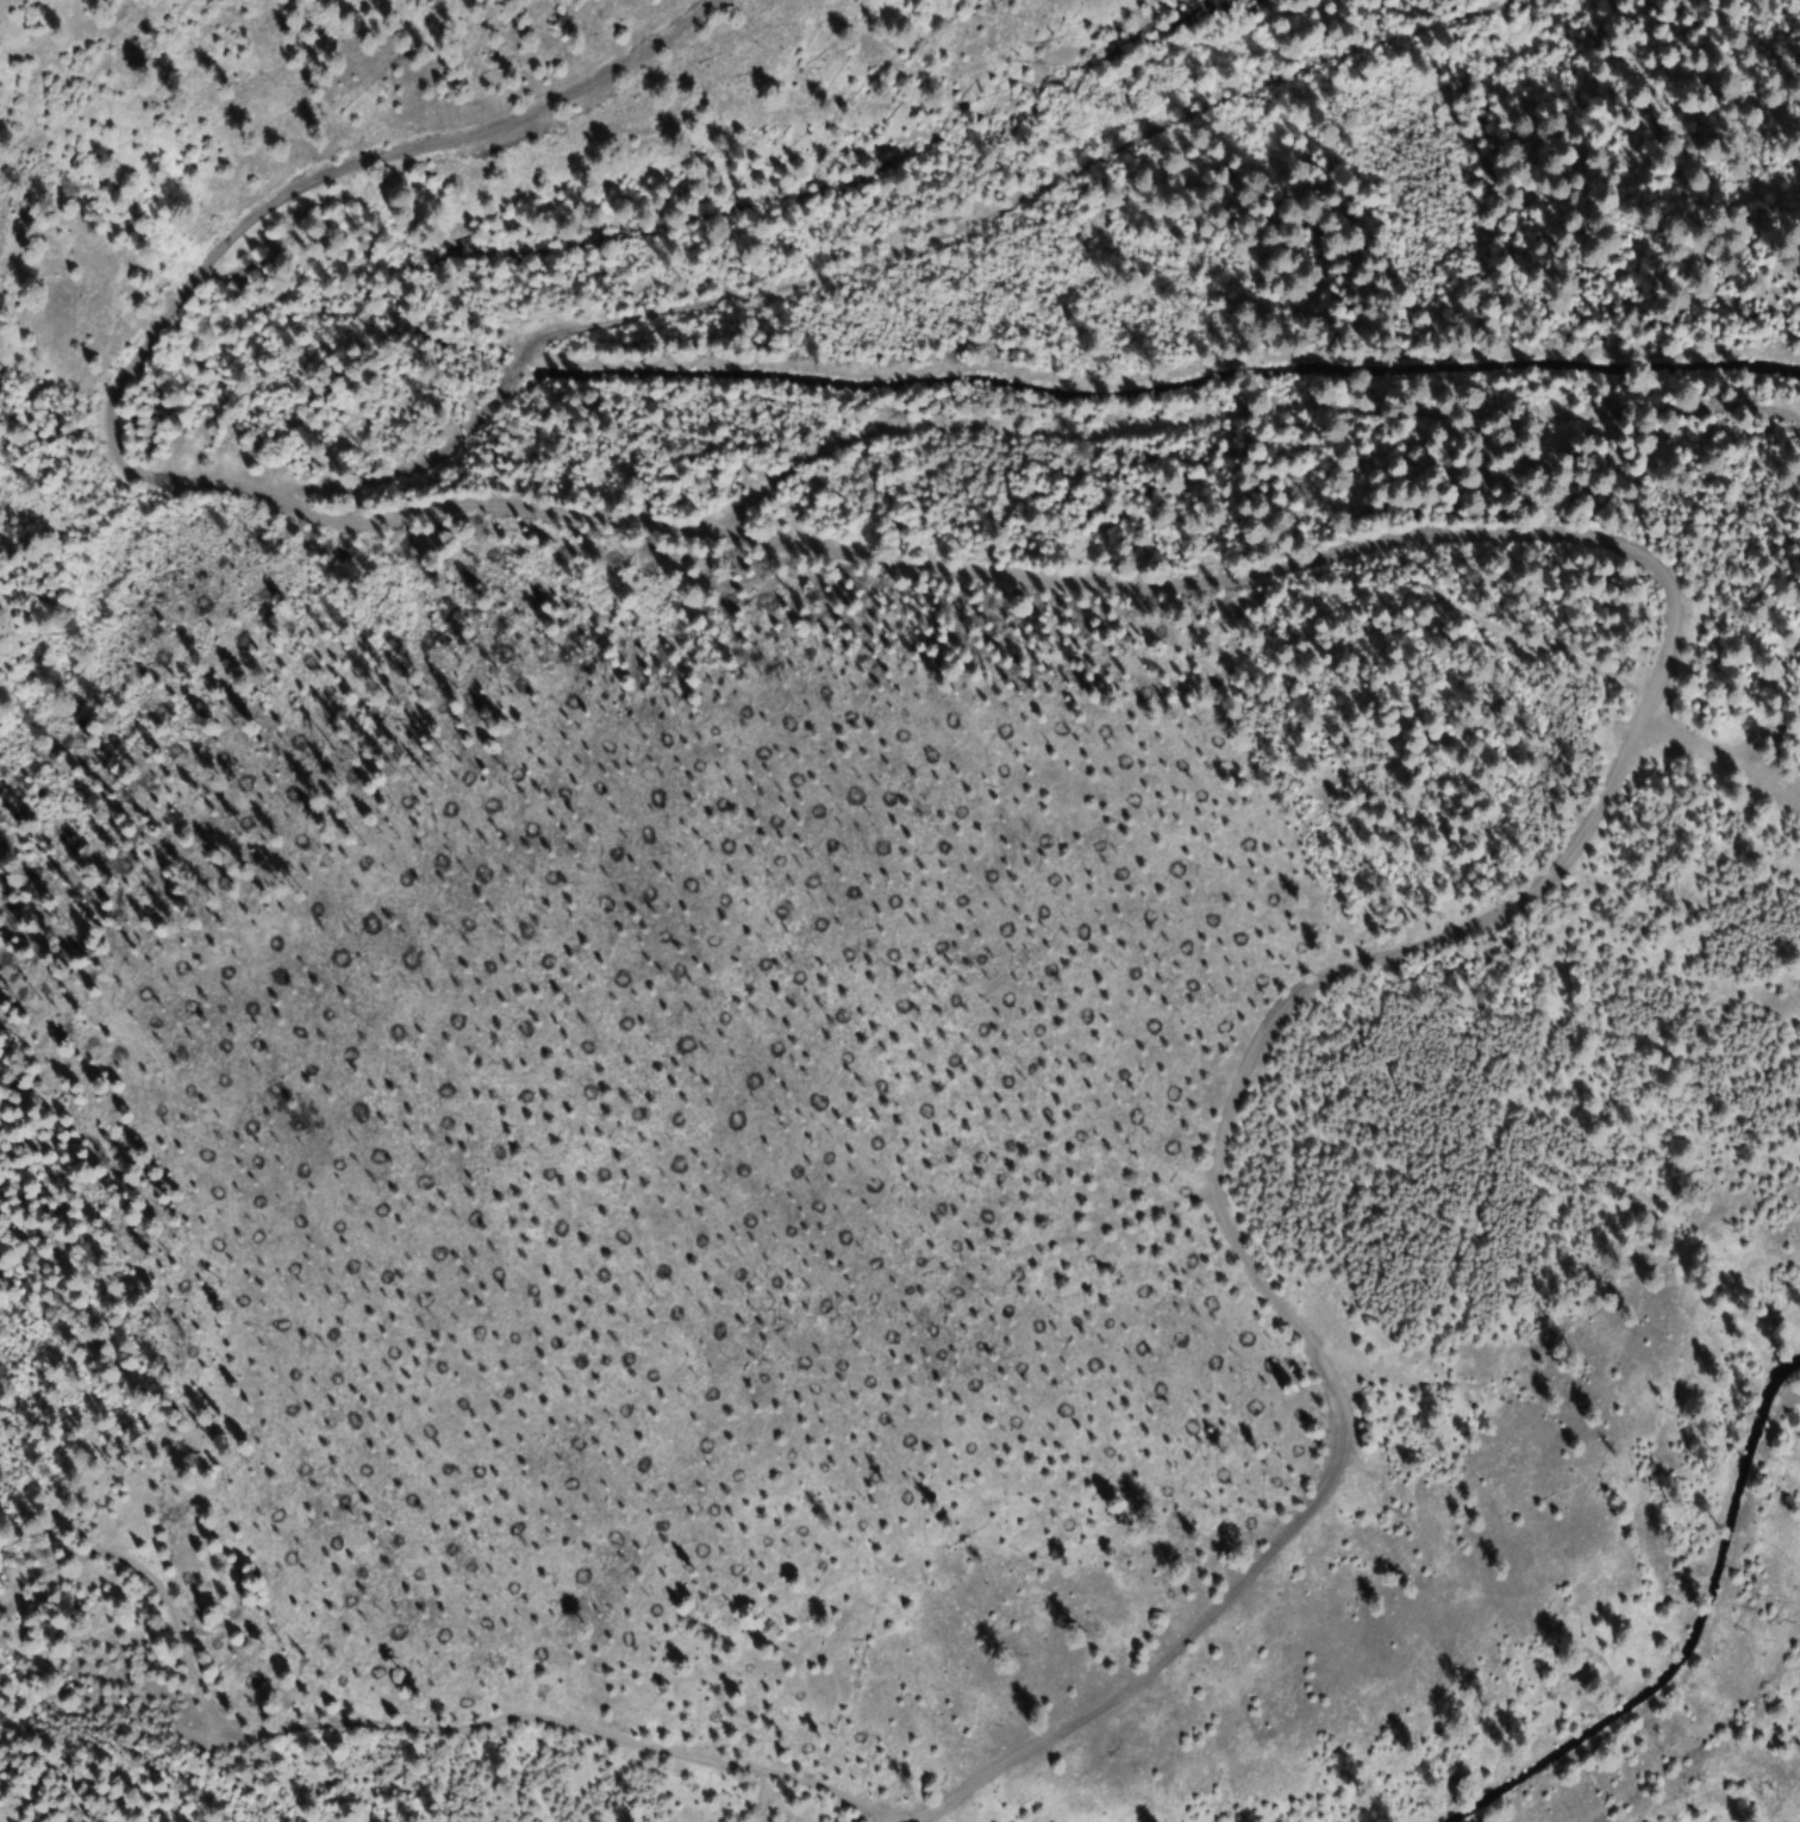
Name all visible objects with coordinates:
road: (1267, 595)

